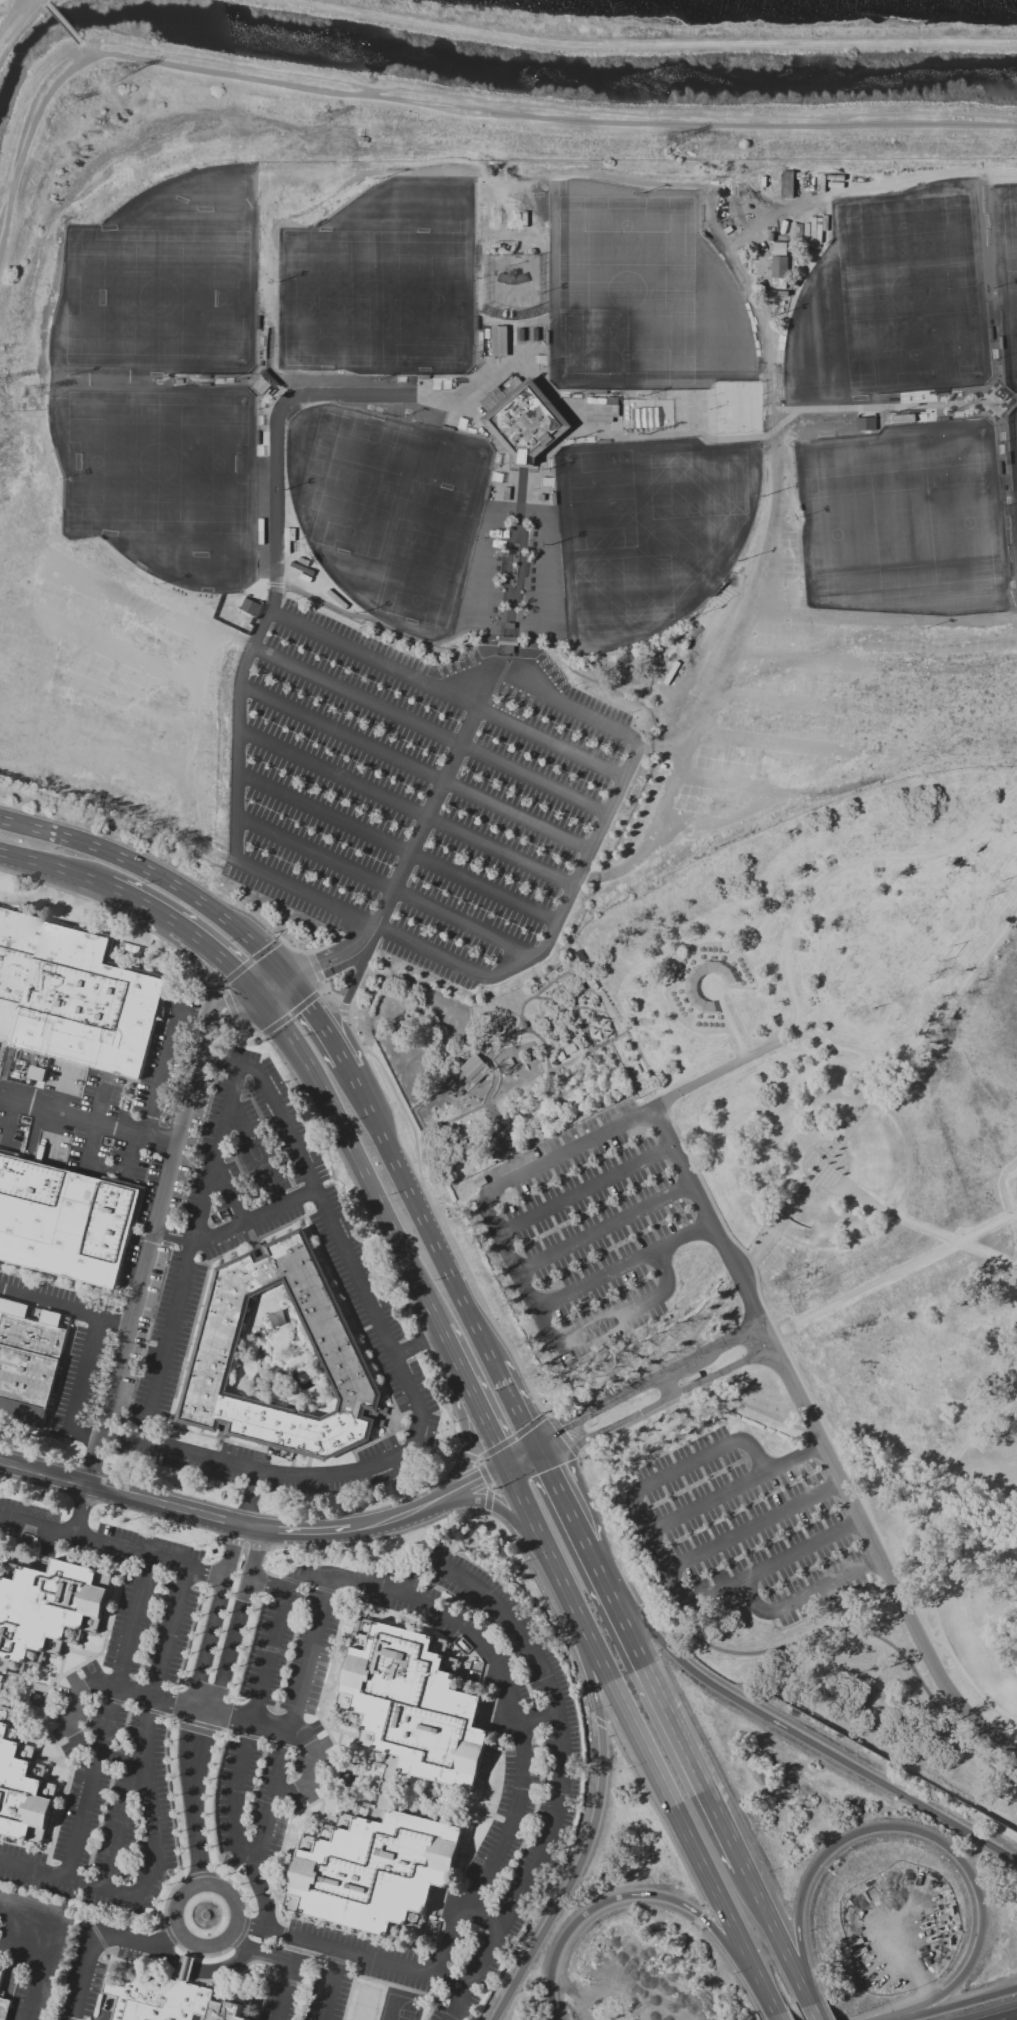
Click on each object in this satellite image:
road: (43, 1)
road: (15, 18)
road: (61, 22)
road: (643, 43)
road: (83, 47)
power tower: (115, 78)
power tower: (71, 102)
road: (25, 106)
road: (551, 107)
power tower: (324, 119)
road: (30, 137)
power tower: (674, 141)
building: (786, 183)
road: (822, 196)
building: (779, 264)
park: (382, 282)
park: (640, 295)
building: (498, 340)
park: (161, 380)
building: (261, 385)
power tower: (25, 393)
road: (302, 394)
park: (910, 407)
building: (526, 423)
building: (865, 423)
road: (747, 437)
park: (388, 510)
park: (650, 532)
road: (764, 563)
road: (513, 568)
building: (249, 606)
road: (881, 619)
road: (563, 703)
road: (429, 732)
road: (416, 763)
parking lot: (423, 789)
road: (404, 808)
road: (396, 847)
road: (408, 867)
road: (51, 870)
road: (159, 873)
road: (381, 885)
road: (810, 891)
road: (187, 936)
road: (701, 945)
road: (308, 951)
road: (533, 956)
road: (234, 973)
traffic signals: (288, 981)
road: (207, 985)
road: (322, 985)
building: (697, 987)
building: (74, 998)
traffic signals: (259, 1003)
road: (291, 1011)
road: (322, 1019)
road: (248, 1026)
road: (347, 1036)
road: (742, 1041)
road: (225, 1061)
road: (734, 1067)
building: (474, 1068)
road: (163, 1070)
building: (37, 1072)
road: (61, 1091)
road: (880, 1096)
road: (87, 1121)
road: (9, 1124)
road: (95, 1124)
road: (572, 1147)
road: (129, 1155)
road: (356, 1162)
road: (1004, 1186)
road: (588, 1187)
road: (409, 1188)
road: (156, 1211)
road: (262, 1214)
building: (65, 1221)
road: (712, 1222)
road: (917, 1223)
road: (606, 1226)
road: (180, 1231)
parking lot: (614, 1237)
road: (343, 1248)
park: (776, 1248)
road: (511, 1249)
road: (189, 1252)
road: (627, 1264)
road: (664, 1270)
road: (893, 1275)
road: (756, 1279)
road: (736, 1282)
road: (63, 1308)
road: (614, 1318)
road: (491, 1319)
road: (416, 1343)
building: (335, 1345)
building: (32, 1363)
road: (83, 1371)
road: (663, 1373)
road: (506, 1381)
road: (674, 1395)
road: (682, 1395)
road: (470, 1400)
road: (809, 1428)
traffic signals: (487, 1434)
road: (563, 1435)
traffic signals: (570, 1435)
road: (510, 1438)
road: (556, 1442)
road: (706, 1454)
road: (523, 1460)
road: (460, 1461)
road: (887, 1466)
road: (248, 1468)
traffic signals: (554, 1472)
road: (483, 1475)
traffic signals: (483, 1479)
road: (737, 1487)
road: (457, 1490)
road: (123, 1495)
road: (250, 1498)
road: (568, 1500)
road: (979, 1505)
road: (476, 1509)
road: (82, 1512)
road: (502, 1513)
road: (381, 1521)
road: (756, 1524)
parking lot: (740, 1527)
road: (298, 1531)
road: (99, 1543)
road: (661, 1548)
road: (877, 1557)
road: (776, 1558)
road: (597, 1560)
road: (928, 1561)
road: (212, 1574)
road: (268, 1584)
road: (803, 1596)
building: (45, 1608)
road: (214, 1615)
road: (238, 1620)
road: (761, 1650)
road: (268, 1656)
road: (107, 1683)
road: (80, 1693)
road: (516, 1703)
building: (412, 1704)
road: (201, 1710)
road: (107, 1717)
road: (539, 1717)
road: (674, 1718)
road: (291, 1719)
road: (598, 1722)
road: (146, 1727)
road: (794, 1731)
road: (297, 1734)
road: (78, 1738)
road: (637, 1739)
road: (561, 1752)
road: (309, 1767)
road: (283, 1790)
building: (21, 1794)
road: (192, 1796)
road: (235, 1796)
road: (599, 1812)
road: (659, 1817)
road: (153, 1826)
road: (924, 1832)
road: (32, 1868)
building: (373, 1870)
road: (100, 1887)
road: (643, 1894)
road: (262, 1896)
road: (28, 1913)
road: (701, 1917)
road: (261, 1928)
road: (779, 1933)
road: (164, 1938)
road: (190, 1944)
road: (92, 1950)
road: (260, 1950)
road: (23, 1952)
road: (375, 1957)
road: (728, 1962)
road: (202, 1968)
road: (43, 1970)
building: (1, 1976)
road: (331, 1984)
road: (283, 1990)
building: (169, 1998)
park: (364, 2003)
road: (955, 2005)
building: (4, 2008)
park: (398, 2008)
road: (816, 2009)
road: (774, 2014)
road: (759, 2015)
road: (891, 2019)
road: (1016, 2019)

